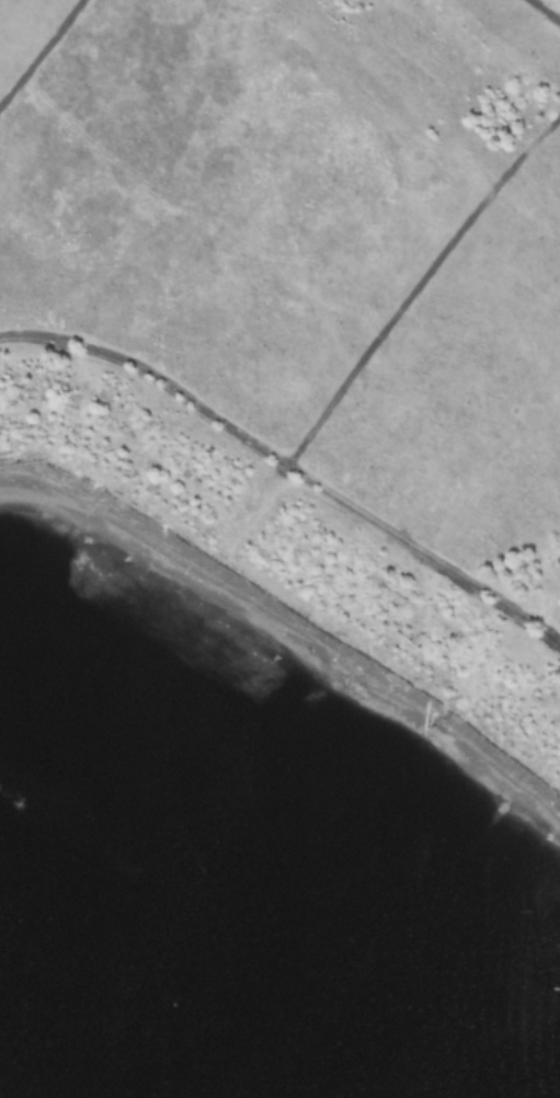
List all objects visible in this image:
road: (545, 10)
road: (41, 49)
road: (418, 282)
road: (289, 460)

